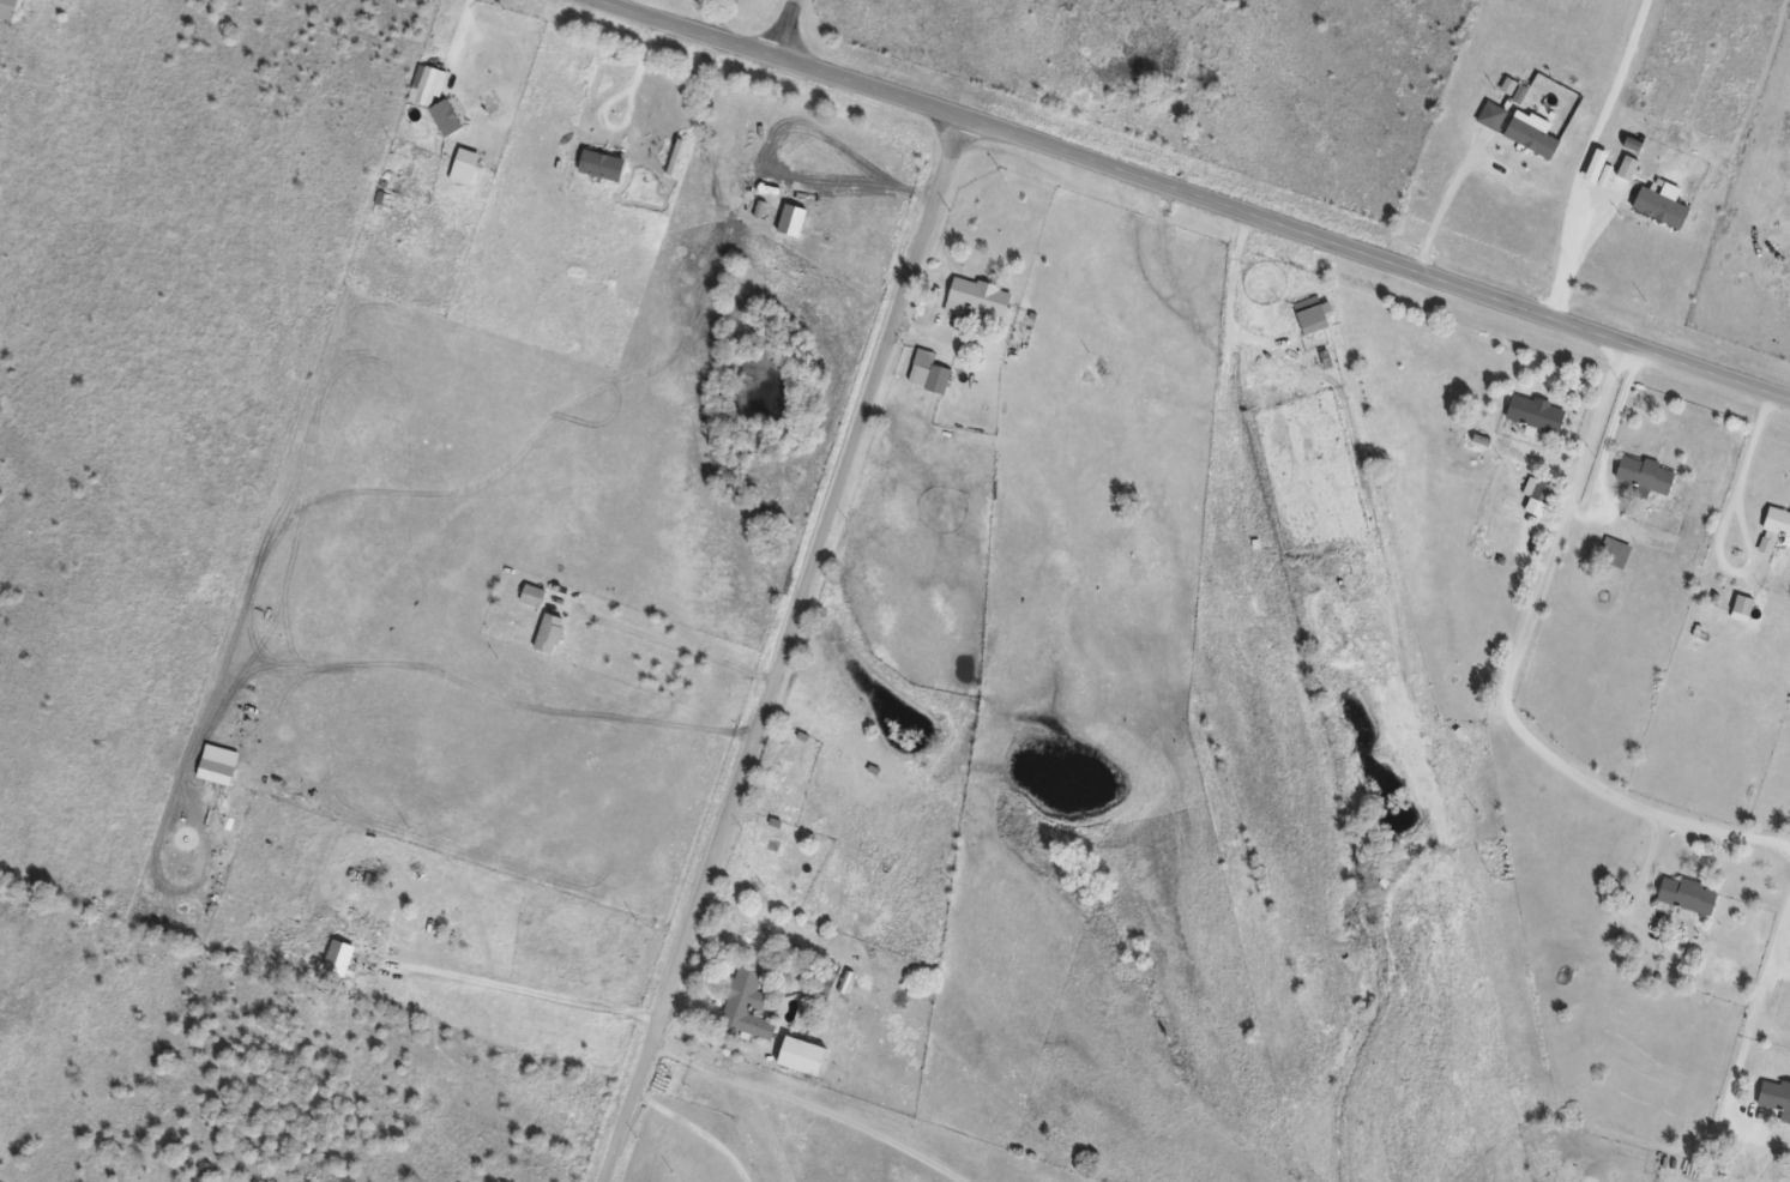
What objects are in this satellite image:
building: (10, 8)
road: (777, 28)
building: (440, 116)
building: (1527, 138)
building: (599, 164)
road: (1194, 195)
building: (975, 298)
building: (929, 378)
building: (1533, 414)
building: (1641, 474)
building: (1776, 521)
road: (1720, 524)
building: (1611, 553)
building: (530, 595)
building: (548, 633)
road: (789, 651)
building: (1684, 895)
building: (335, 958)
building: (825, 977)
road: (522, 990)
building: (748, 1005)
building: (796, 1055)
building: (1774, 1097)
building: (1732, 1160)

